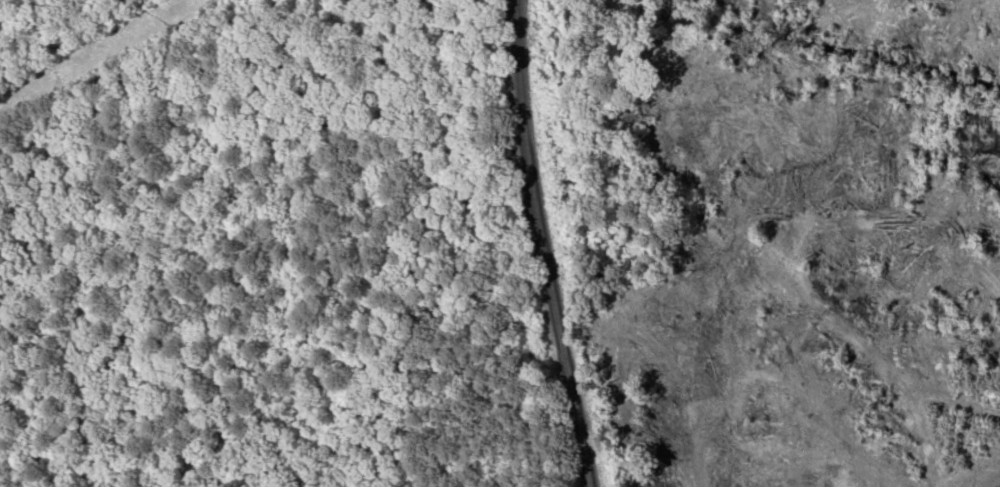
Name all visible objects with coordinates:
railway: (554, 243)

